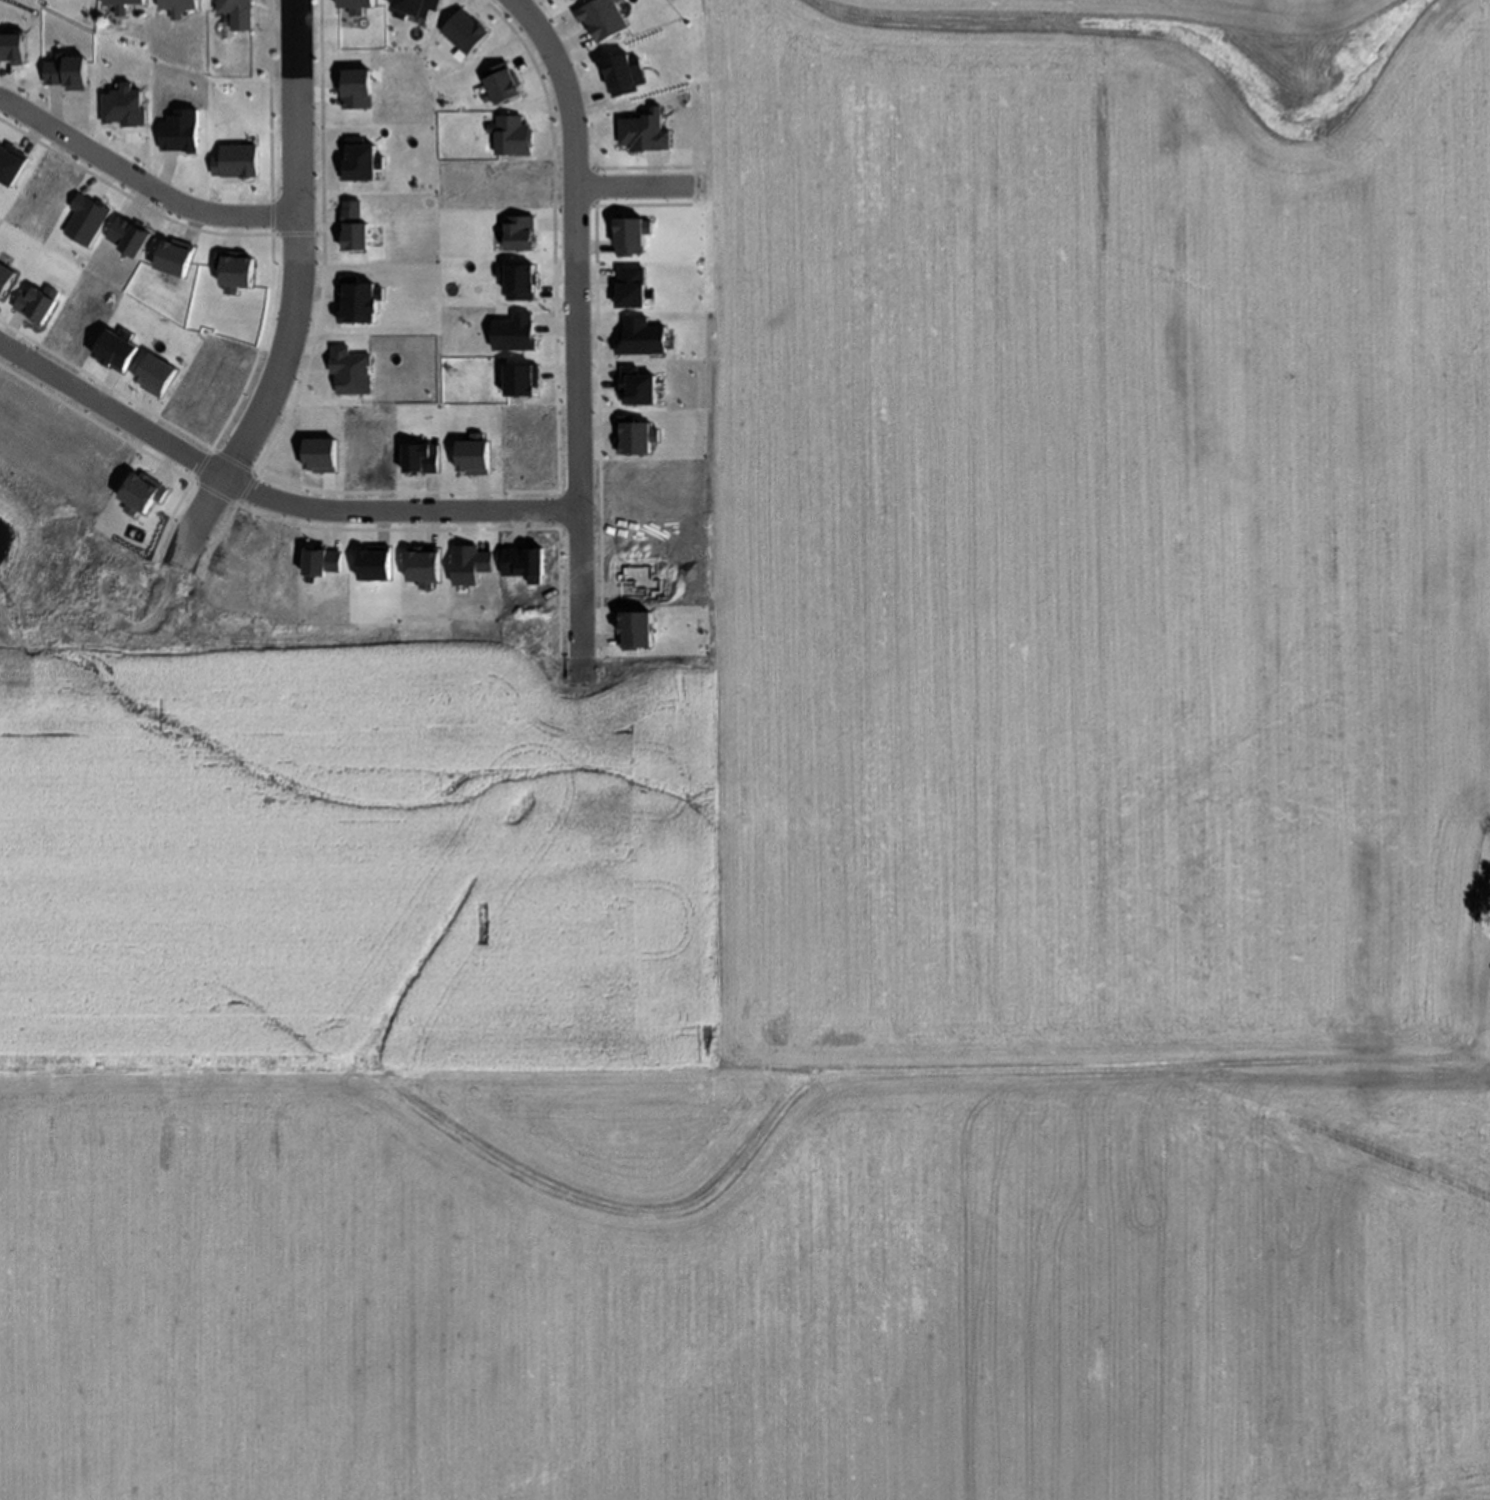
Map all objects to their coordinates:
building: (233, 14)
park: (687, 66)
road: (141, 191)
road: (628, 197)
road: (296, 296)
road: (575, 334)
road: (269, 508)
crop: (943, 858)

